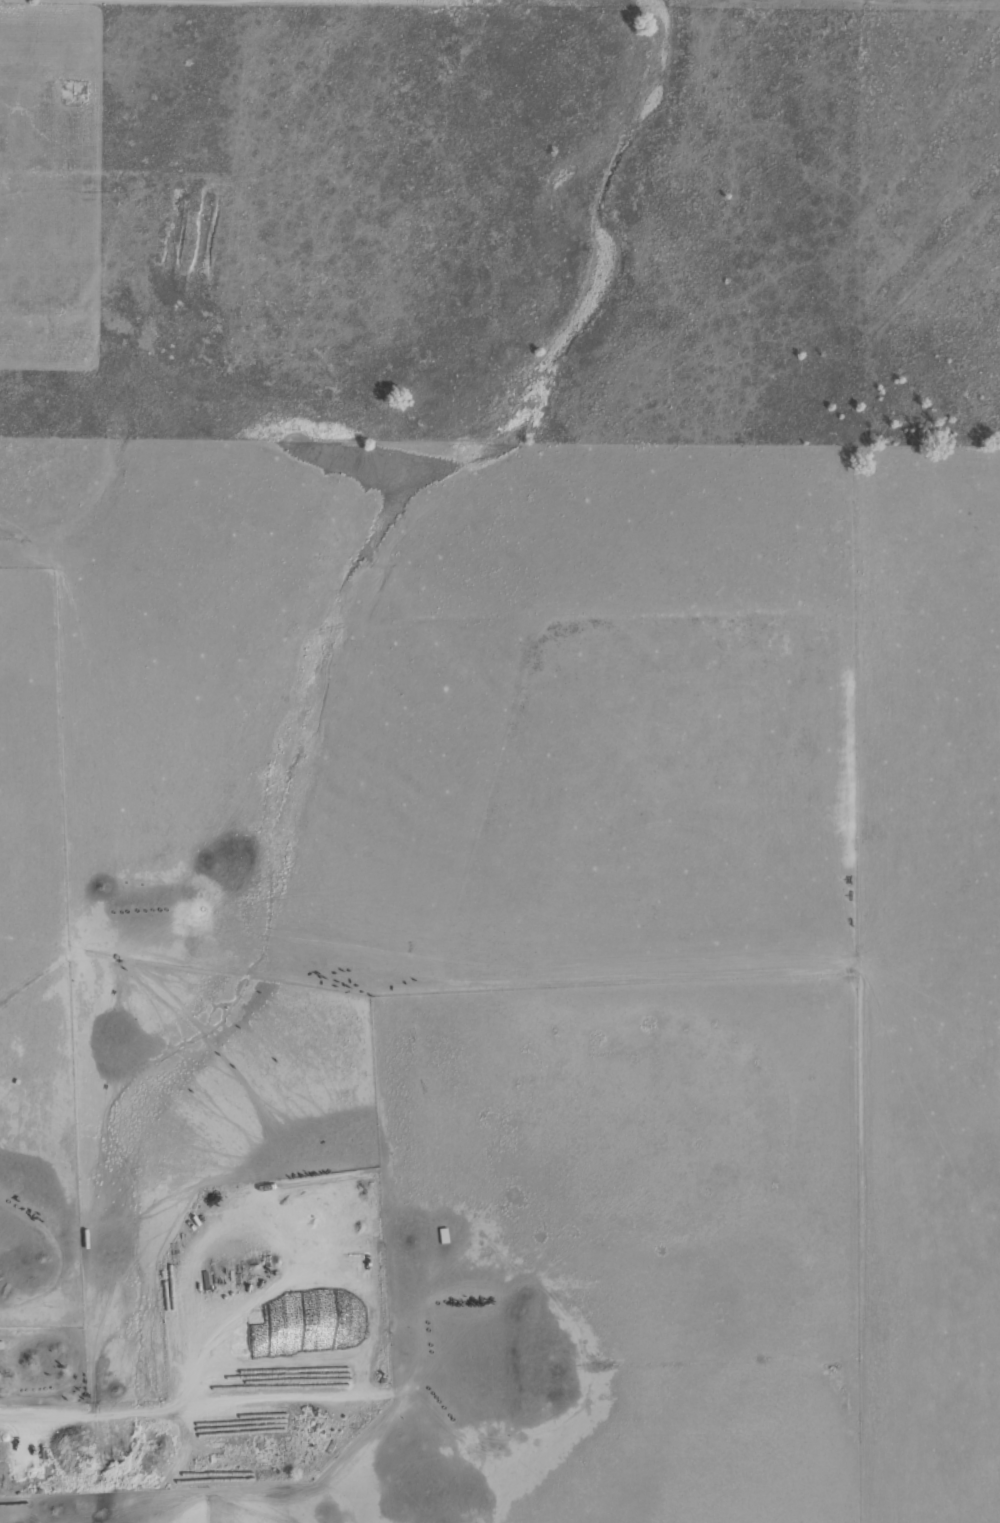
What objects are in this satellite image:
building: (66, 91)

